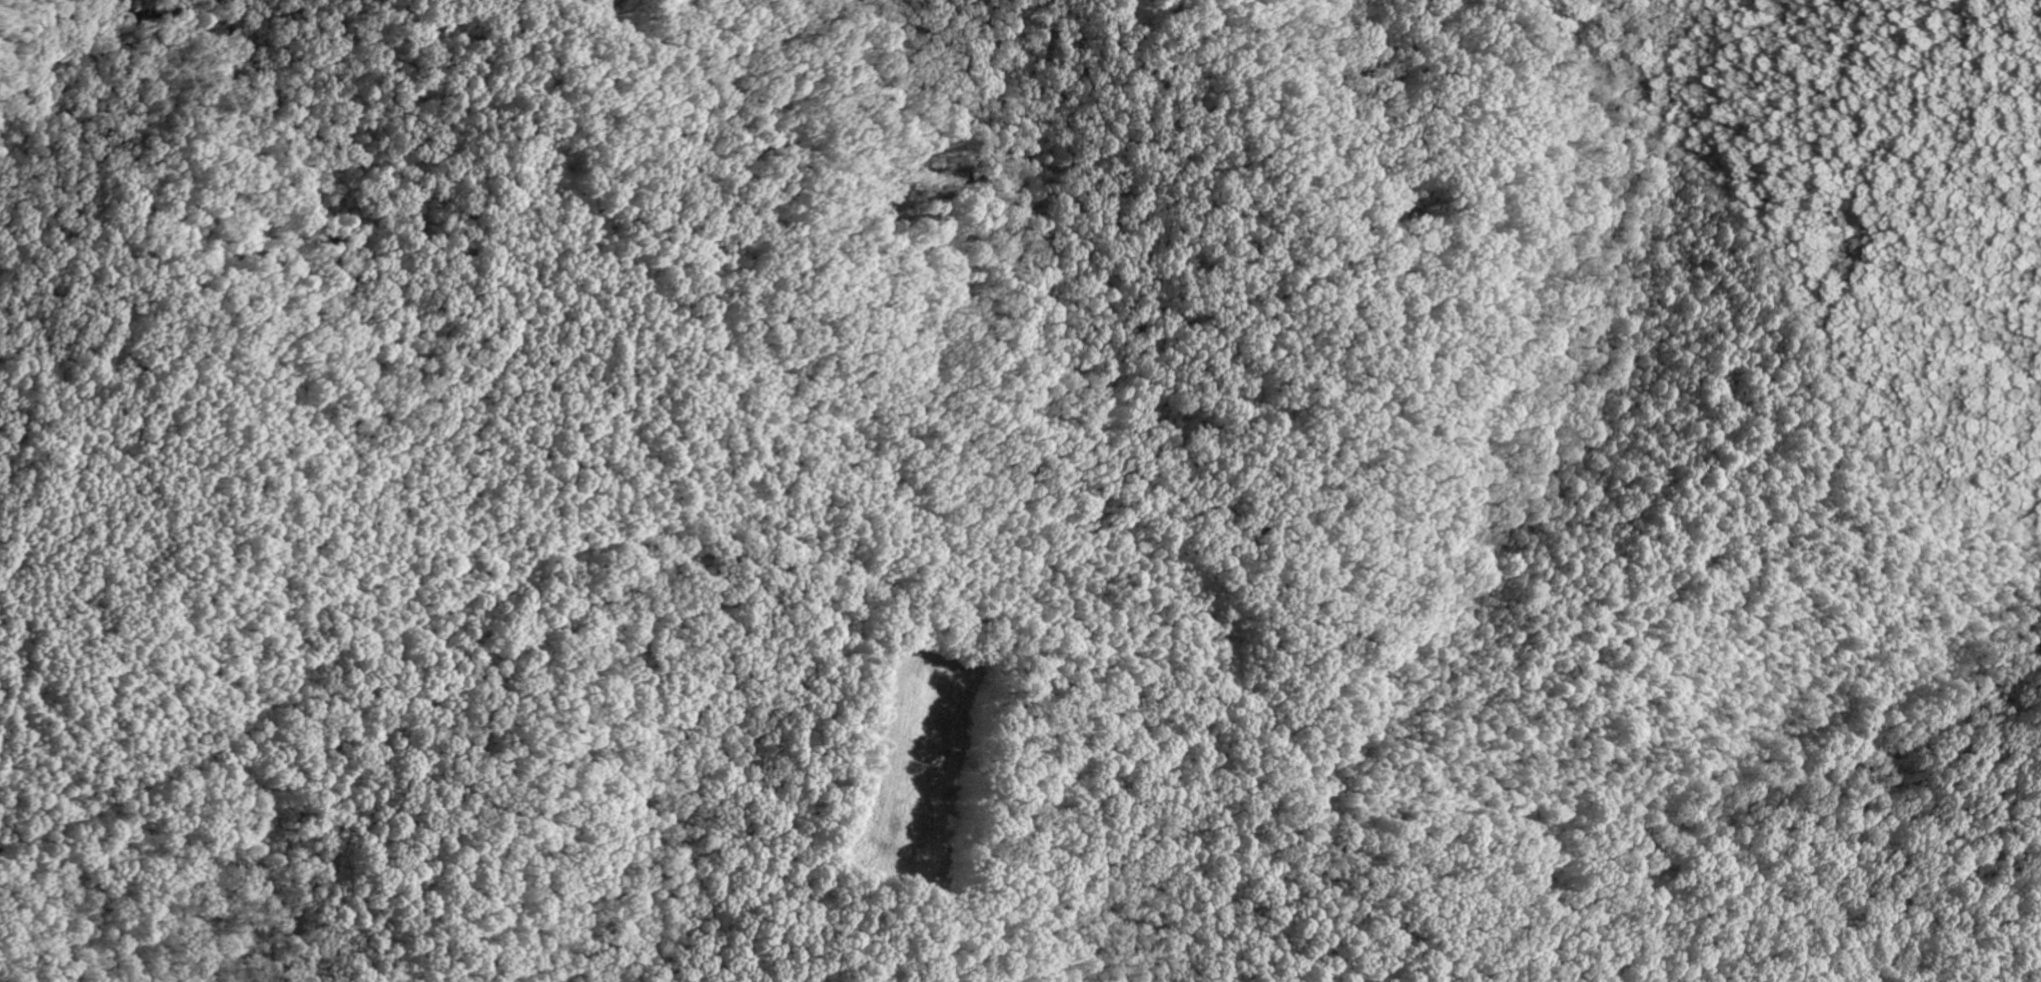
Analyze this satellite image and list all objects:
road: (632, 719)

